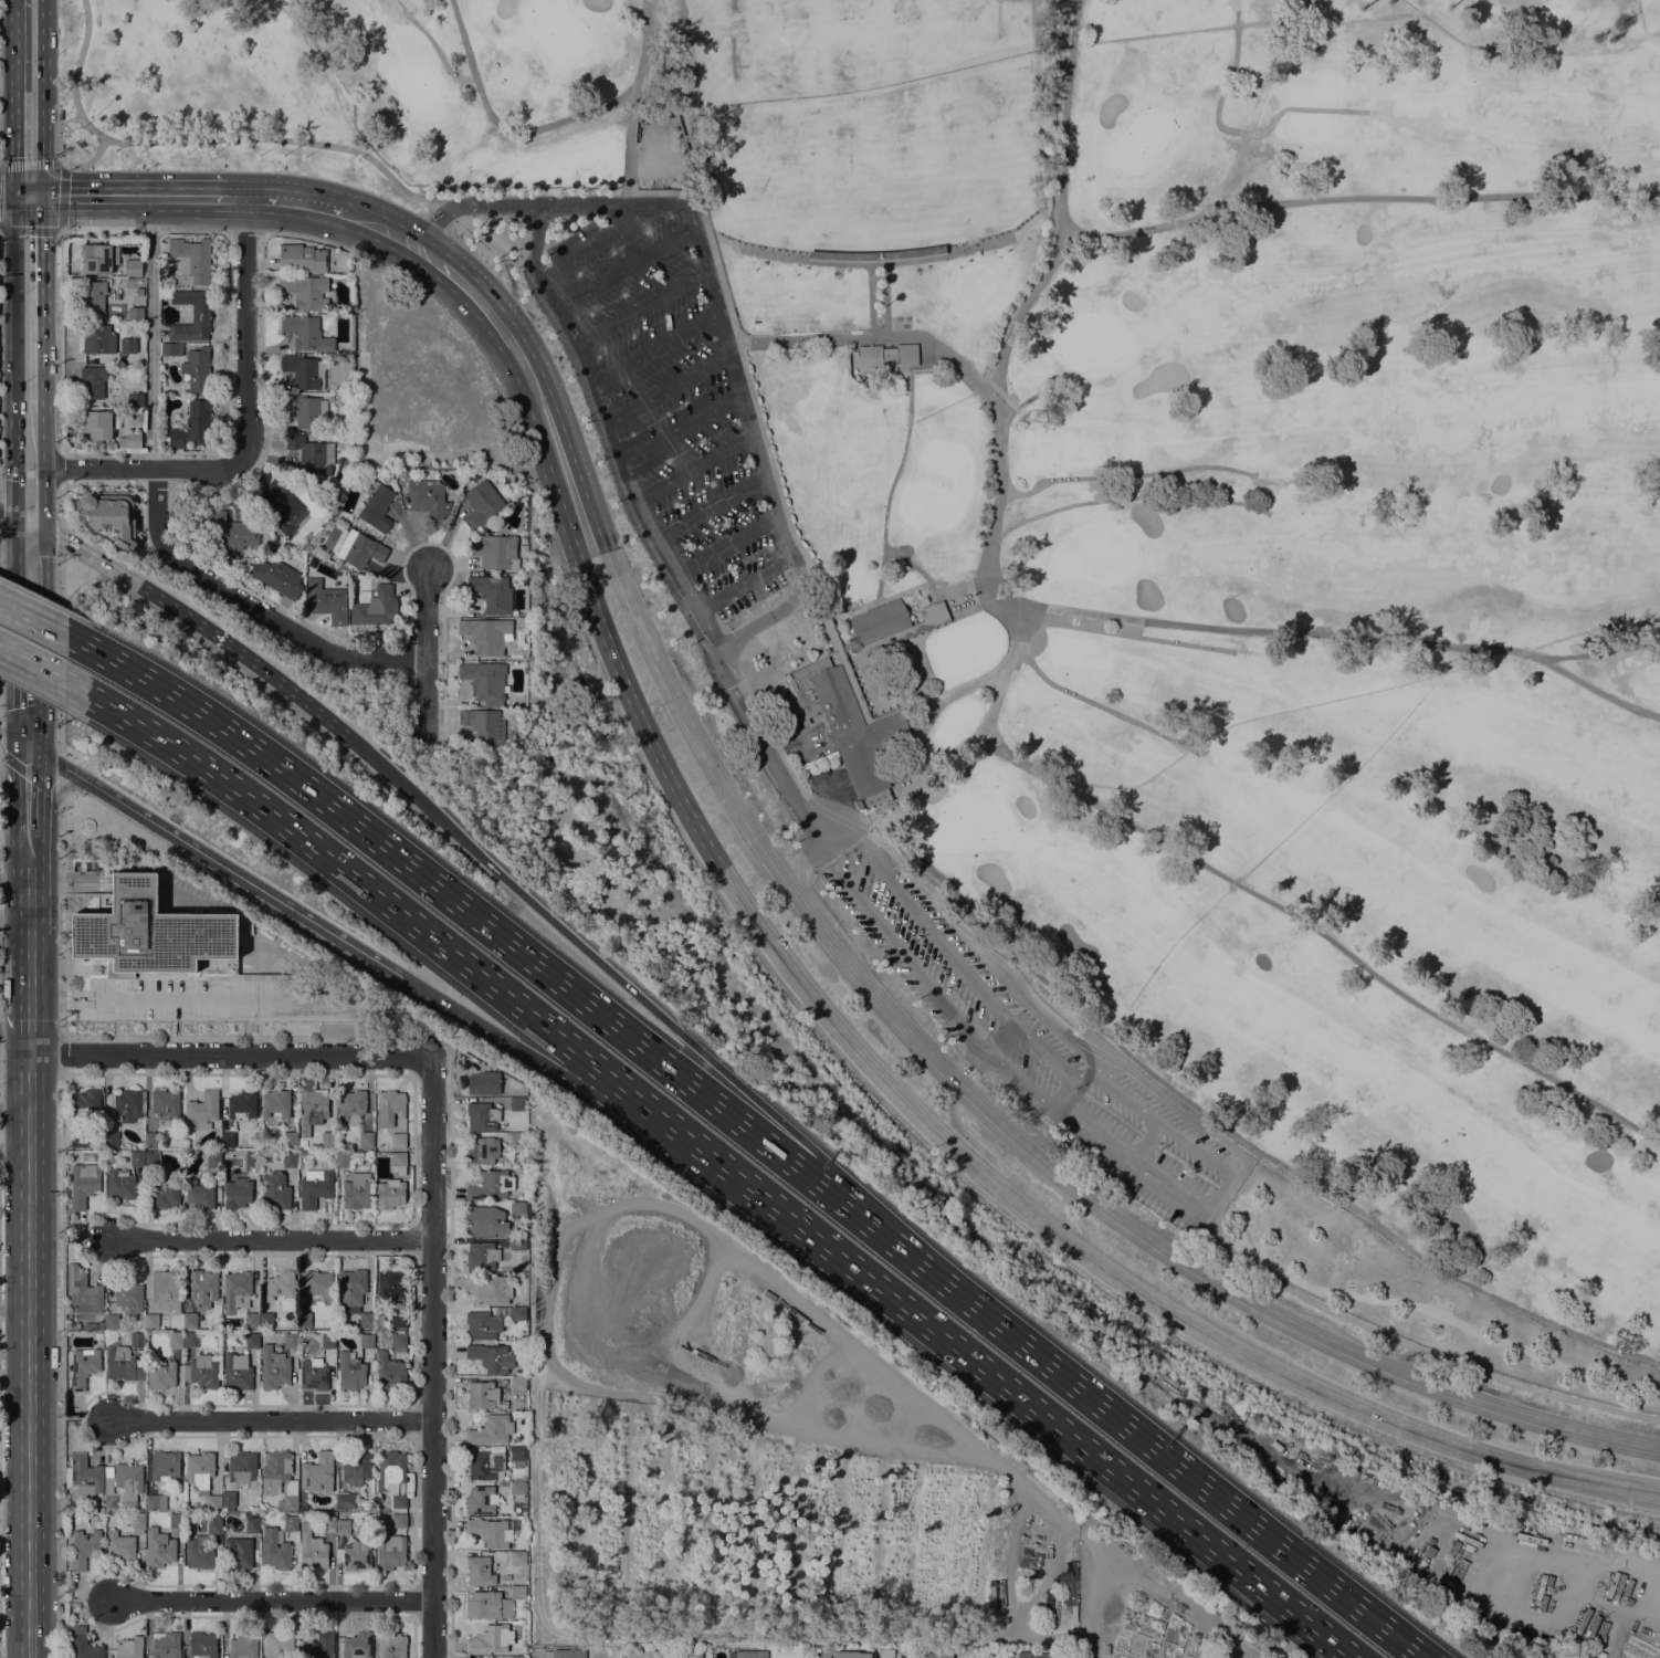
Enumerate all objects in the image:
park: (559, 30)
road: (438, 51)
road: (643, 51)
park: (473, 76)
park: (209, 93)
road: (12, 97)
road: (42, 97)
road: (500, 124)
park: (866, 124)
road: (1238, 129)
road: (211, 138)
road: (628, 151)
road: (60, 160)
road: (30, 165)
road: (7, 197)
traffic signals: (13, 197)
road: (29, 197)
traffic signals: (44, 197)
road: (136, 198)
road: (1357, 198)
road: (287, 202)
road: (582, 203)
road: (493, 204)
road: (1060, 206)
road: (60, 225)
road: (432, 225)
road: (245, 231)
road: (392, 232)
road: (304, 235)
road: (484, 240)
park: (1355, 249)
building: (875, 254)
road: (60, 256)
building: (98, 258)
building: (301, 259)
building: (191, 260)
road: (874, 264)
building: (133, 267)
building: (307, 292)
building: (93, 296)
road: (479, 298)
road: (884, 298)
road: (870, 300)
road: (13, 303)
road: (44, 303)
building: (135, 312)
building: (201, 314)
road: (245, 328)
road: (1659, 329)
road: (150, 333)
building: (306, 333)
road: (876, 335)
building: (97, 338)
building: (128, 345)
building: (171, 349)
building: (886, 355)
building: (95, 359)
building: (197, 368)
building: (304, 371)
road: (747, 375)
building: (93, 382)
building: (135, 399)
parking lot: (671, 399)
building: (305, 409)
road: (746, 414)
road: (227, 423)
building: (96, 424)
building: (192, 424)
road: (554, 438)
building: (130, 440)
building: (312, 453)
road: (605, 453)
road: (13, 468)
road: (43, 468)
road: (60, 468)
road: (143, 468)
road: (1125, 474)
road: (1126, 496)
building: (428, 500)
road: (59, 503)
building: (283, 504)
building: (481, 504)
building: (377, 506)
road: (994, 512)
building: (111, 515)
road: (14, 516)
building: (202, 520)
traffic signals: (29, 523)
building: (231, 532)
road: (651, 533)
road: (59, 537)
road: (72, 546)
building: (359, 549)
building: (495, 550)
building: (353, 574)
building: (277, 578)
road: (969, 586)
building: (492, 594)
road: (151, 595)
building: (327, 602)
road: (797, 604)
road: (251, 605)
road: (960, 606)
building: (375, 608)
road: (427, 611)
road: (33, 618)
building: (892, 621)
road: (1125, 632)
road: (1344, 633)
road: (29, 634)
building: (484, 636)
park: (1084, 647)
road: (59, 651)
road: (1600, 651)
road: (717, 658)
road: (39, 669)
road: (270, 674)
building: (483, 680)
road: (852, 685)
road: (953, 691)
road: (425, 696)
road: (925, 700)
road: (1100, 706)
road: (677, 707)
building: (849, 720)
building: (483, 724)
road: (981, 728)
road: (14, 739)
traffic signals: (29, 747)
road: (910, 758)
road: (29, 787)
road: (50, 789)
road: (876, 820)
park: (973, 822)
road: (30, 850)
park: (1349, 850)
road: (717, 854)
road: (801, 857)
road: (213, 862)
building: (82, 865)
road: (14, 872)
road: (29, 903)
road: (801, 911)
road: (469, 913)
road: (14, 916)
road: (61, 917)
building: (149, 932)
road: (1322, 934)
road: (609, 969)
traffic signals: (401, 976)
road: (80, 991)
road: (29, 994)
road: (44, 998)
road: (220, 1000)
road: (80, 1005)
building: (325, 1015)
road: (14, 1022)
road: (892, 1022)
road: (217, 1037)
road: (1001, 1040)
parking lot: (1032, 1051)
road: (228, 1056)
road: (535, 1056)
road: (968, 1070)
building: (483, 1083)
road: (1062, 1092)
building: (166, 1102)
building: (275, 1103)
building: (517, 1103)
building: (85, 1104)
building: (127, 1105)
building: (241, 1105)
building: (351, 1106)
building: (390, 1106)
road: (14, 1109)
road: (949, 1110)
building: (202, 1111)
building: (312, 1111)
building: (482, 1115)
road: (1189, 1116)
road: (994, 1123)
road: (1237, 1136)
building: (517, 1137)
building: (228, 1138)
building: (328, 1138)
building: (366, 1138)
building: (78, 1140)
building: (112, 1140)
building: (151, 1140)
building: (290, 1140)
building: (398, 1140)
road: (1144, 1143)
building: (482, 1150)
road: (14, 1151)
road: (966, 1154)
building: (137, 1158)
building: (213, 1159)
building: (252, 1159)
building: (343, 1159)
building: (290, 1161)
building: (398, 1162)
building: (151, 1163)
road: (723, 1164)
building: (84, 1183)
building: (119, 1184)
building: (491, 1185)
building: (314, 1187)
building: (165, 1189)
building: (274, 1189)
building: (357, 1190)
road: (1217, 1193)
building: (390, 1194)
building: (198, 1195)
building: (237, 1195)
building: (517, 1208)
road: (601, 1210)
building: (484, 1220)
road: (84, 1239)
road: (270, 1239)
building: (517, 1243)
building: (482, 1255)
building: (390, 1283)
building: (317, 1286)
building: (202, 1288)
building: (488, 1289)
building: (166, 1291)
building: (281, 1292)
building: (85, 1293)
building: (354, 1294)
building: (239, 1297)
building: (128, 1299)
road: (1423, 1308)
building: (517, 1313)
building: (265, 1319)
building: (189, 1320)
building: (304, 1320)
building: (156, 1321)
building: (397, 1321)
building: (113, 1322)
building: (482, 1324)
building: (109, 1336)
building: (137, 1339)
building: (175, 1340)
building: (190, 1340)
building: (328, 1340)
building: (252, 1341)
building: (290, 1341)
building: (366, 1341)
building: (398, 1342)
road: (1323, 1342)
road: (29, 1356)
building: (491, 1357)
road: (433, 1358)
road: (62, 1364)
building: (123, 1364)
building: (83, 1367)
building: (273, 1367)
building: (201, 1371)
building: (350, 1371)
building: (237, 1372)
building: (389, 1372)
building: (160, 1374)
building: (313, 1374)
road: (1291, 1374)
building: (517, 1383)
building: (482, 1395)
building: (502, 1404)
road: (85, 1418)
road: (271, 1419)
building: (491, 1430)
road: (1138, 1436)
building: (517, 1454)
building: (484, 1465)
building: (165, 1466)
building: (356, 1468)
building: (390, 1469)
building: (242, 1470)
building: (317, 1472)
building: (83, 1475)
building: (201, 1478)
building: (279, 1478)
building: (123, 1487)
building: (518, 1488)
road: (538, 1494)
road: (1640, 1494)
building: (228, 1500)
building: (481, 1500)
building: (346, 1501)
building: (398, 1501)
building: (155, 1502)
building: (137, 1520)
building: (176, 1520)
building: (399, 1521)
building: (213, 1523)
building: (291, 1523)
building: (328, 1523)
building: (252, 1524)
building: (343, 1526)
building: (488, 1531)
building: (1433, 1538)
building: (119, 1545)
building: (84, 1547)
building: (158, 1547)
building: (274, 1549)
building: (312, 1550)
building: (199, 1552)
building: (390, 1552)
building: (1428, 1552)
building: (237, 1553)
building: (355, 1555)
building: (518, 1557)
building: (479, 1570)
building: (1420, 1575)
building: (507, 1577)
road: (86, 1598)
road: (271, 1599)
building: (494, 1602)
road: (1186, 1603)
building: (525, 1605)
road: (1093, 1607)
building: (491, 1639)
building: (83, 1645)
building: (165, 1645)
building: (202, 1645)
building: (357, 1645)
building: (391, 1645)
building: (243, 1646)
building: (279, 1646)
building: (318, 1646)
building: (129, 1648)
building: (1105, 1649)
building: (565, 1654)
building: (672, 1654)
building: (747, 1654)
building: (851, 1655)
building: (934, 1655)
building: (1041, 1655)
building: (518, 1657)

